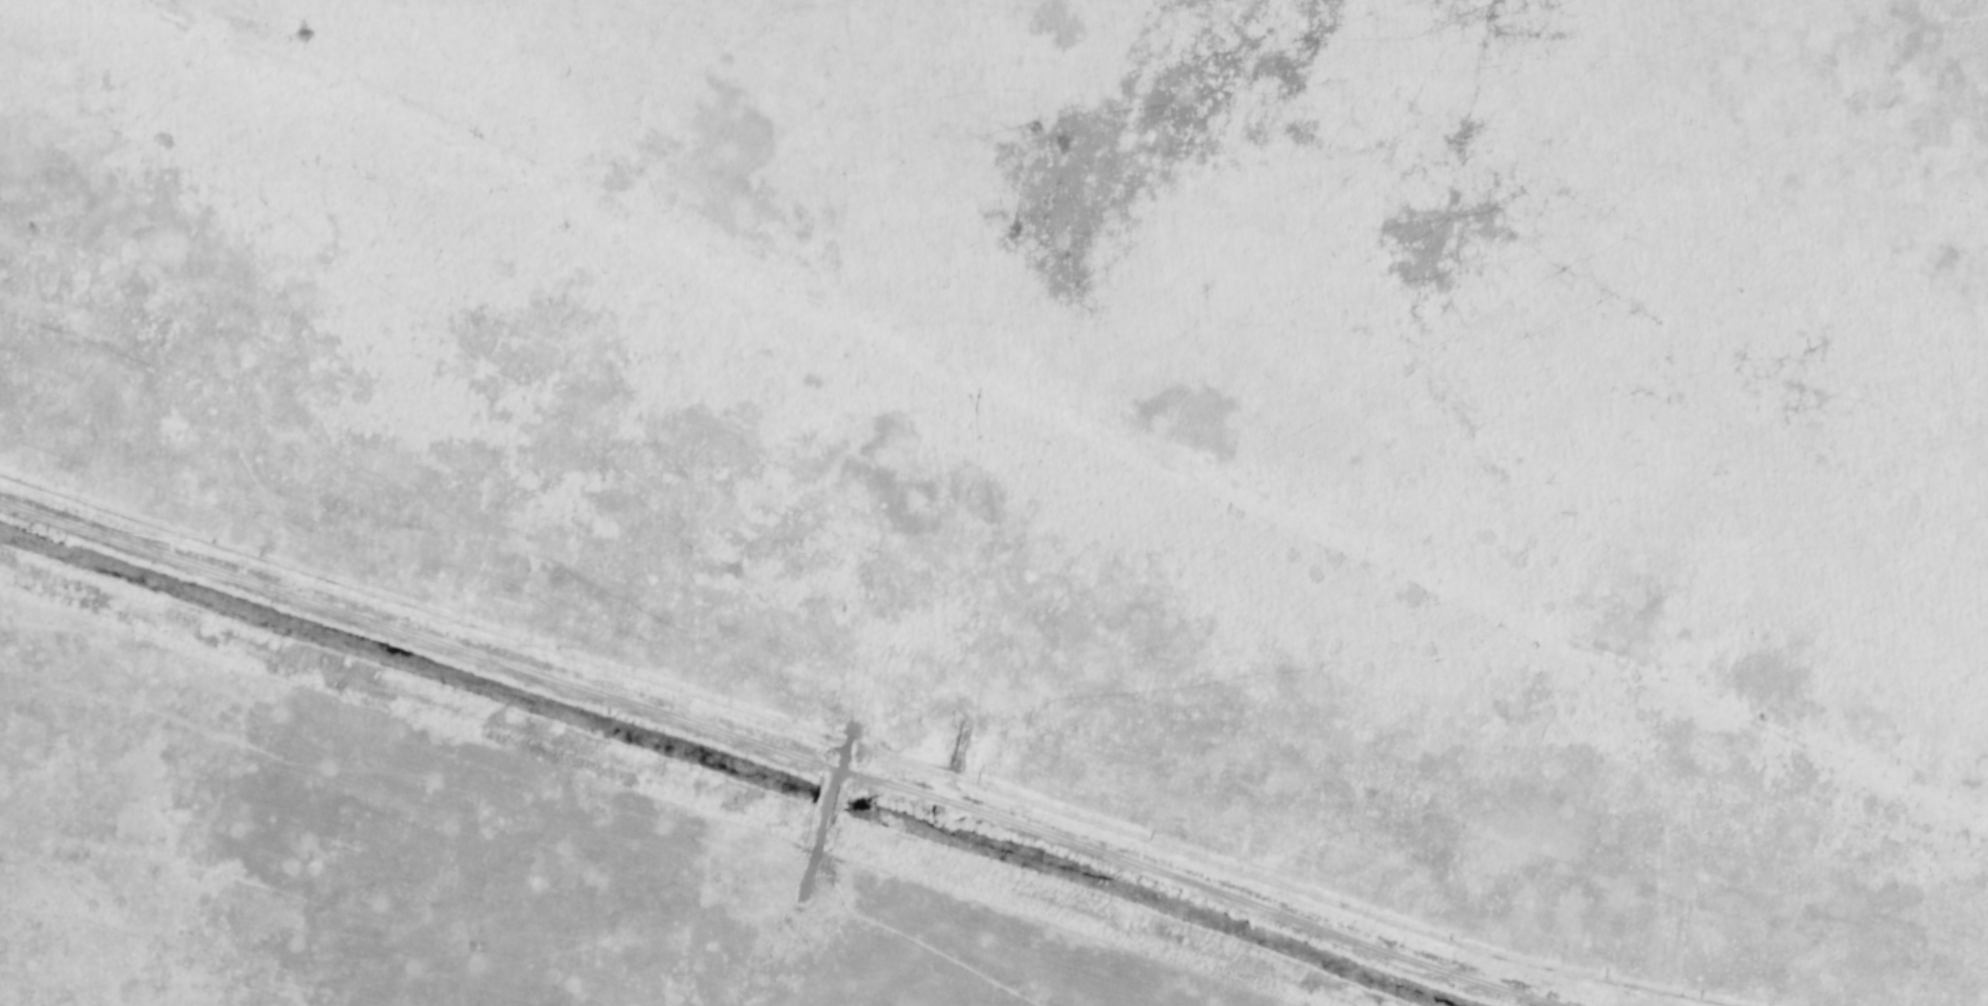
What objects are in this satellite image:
road: (761, 770)

